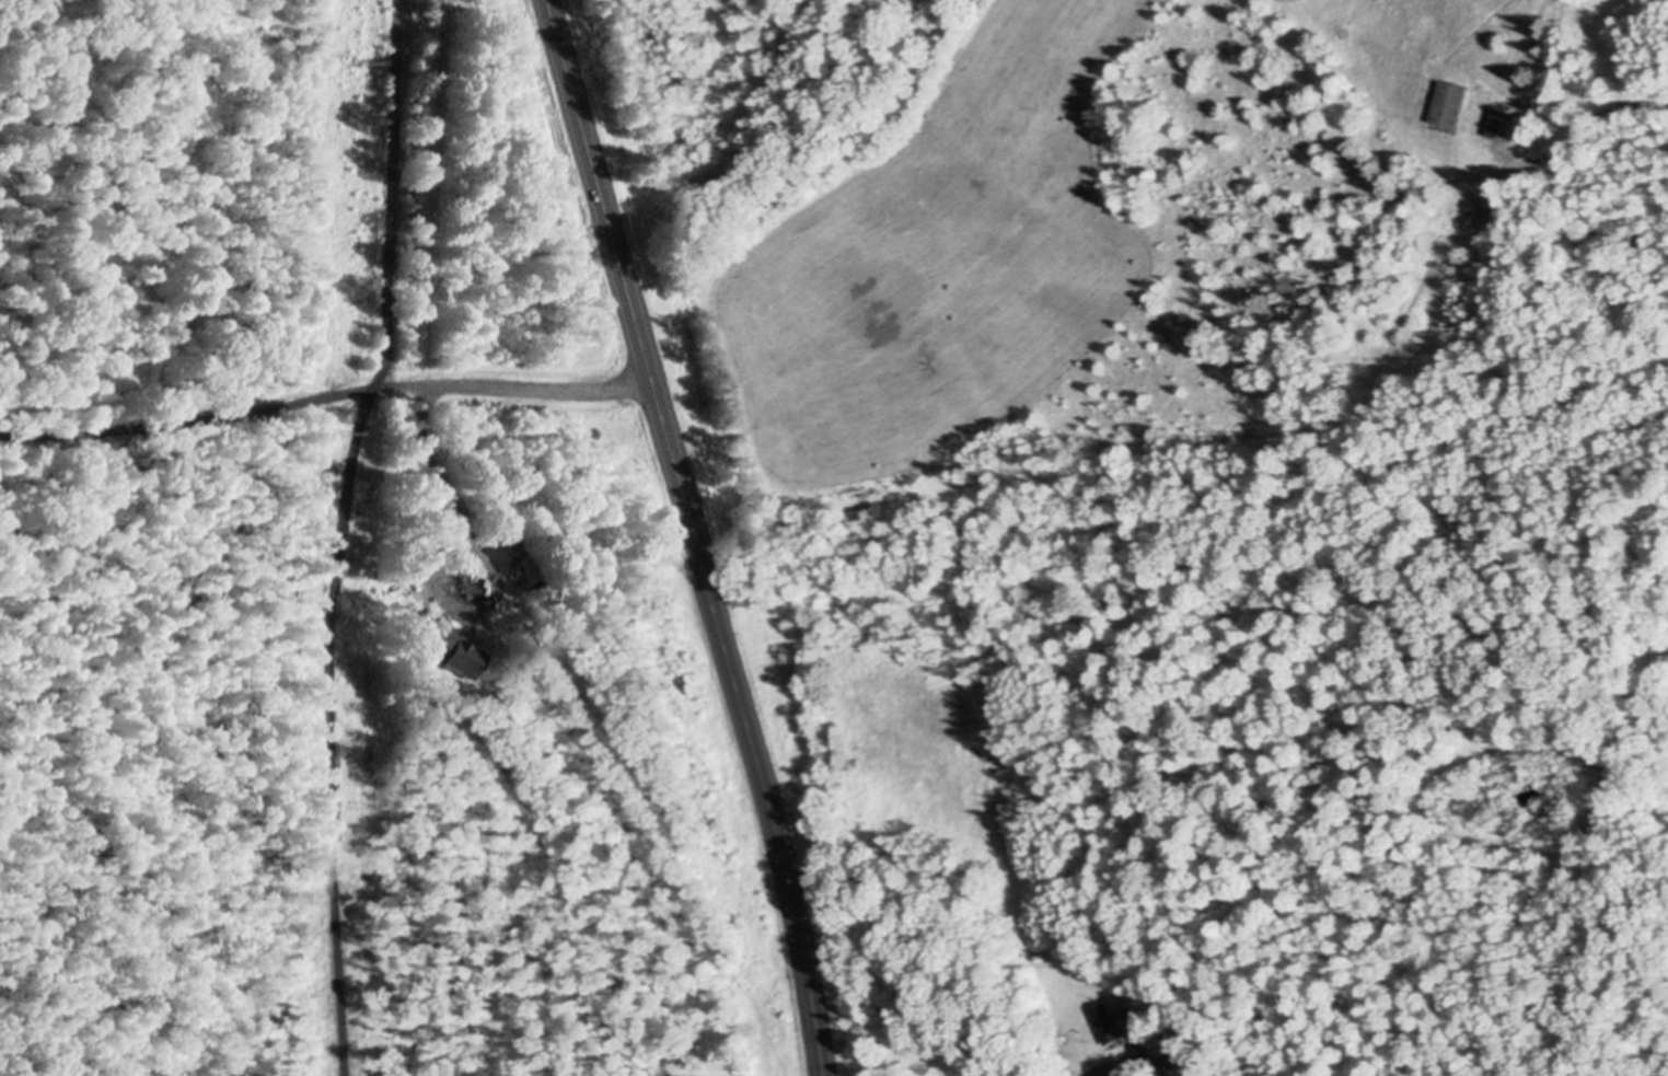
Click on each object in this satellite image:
building: (1451, 103)
building: (1506, 125)
road: (1580, 130)
road: (385, 192)
road: (323, 395)
road: (694, 534)
road: (476, 547)
road: (328, 737)
building: (1114, 1021)
building: (1152, 1056)
road: (1094, 1067)

